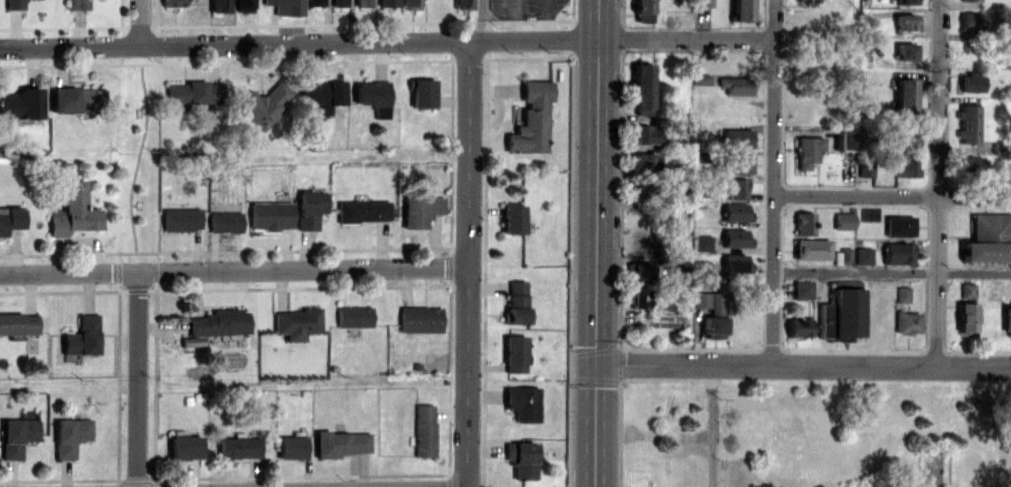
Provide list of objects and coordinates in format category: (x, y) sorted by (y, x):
building: (970, 0)
building: (805, 1)
building: (905, 1)
building: (315, 2)
building: (339, 2)
building: (362, 2)
building: (173, 3)
building: (388, 3)
building: (703, 3)
building: (14, 4)
building: (77, 4)
building: (410, 4)
building: (463, 4)
building: (243, 5)
building: (220, 6)
building: (287, 6)
building: (642, 6)
building: (741, 10)
road: (481, 20)
building: (971, 20)
building: (904, 21)
road: (139, 23)
road: (686, 38)
road: (299, 43)
building: (905, 51)
building: (701, 79)
building: (970, 82)
building: (735, 85)
building: (642, 89)
building: (194, 92)
building: (422, 93)
building: (322, 94)
building: (904, 94)
building: (373, 96)
building: (76, 99)
building: (20, 104)
building: (263, 104)
building: (530, 119)
building: (967, 123)
building: (643, 134)
road: (772, 135)
building: (904, 136)
building: (737, 138)
building: (844, 139)
building: (807, 150)
road: (137, 158)
building: (645, 160)
building: (738, 163)
building: (971, 164)
building: (865, 168)
building: (905, 168)
road: (936, 182)
building: (736, 188)
road: (891, 195)
building: (310, 208)
building: (419, 210)
building: (74, 211)
building: (362, 211)
building: (735, 212)
building: (270, 215)
building: (10, 219)
building: (181, 219)
building: (511, 219)
building: (843, 220)
building: (224, 221)
building: (804, 223)
building: (899, 225)
building: (990, 225)
building: (735, 238)
road: (597, 243)
building: (702, 243)
building: (811, 249)
building: (984, 251)
building: (898, 253)
building: (845, 255)
building: (863, 255)
road: (466, 263)
building: (735, 263)
road: (232, 269)
building: (640, 271)
road: (891, 272)
building: (802, 289)
building: (902, 294)
building: (705, 300)
building: (516, 302)
building: (840, 314)
building: (353, 316)
road: (771, 318)
building: (419, 319)
building: (966, 319)
building: (1007, 319)
building: (295, 322)
building: (907, 322)
building: (18, 323)
building: (215, 325)
building: (713, 327)
building: (798, 327)
building: (82, 336)
building: (514, 353)
traffic signals: (596, 364)
road: (803, 365)
road: (137, 379)
road: (232, 383)
building: (522, 403)
road: (707, 426)
building: (423, 430)
building: (16, 436)
building: (69, 436)
building: (340, 443)
building: (184, 447)
building: (239, 447)
building: (291, 447)
building: (521, 459)

